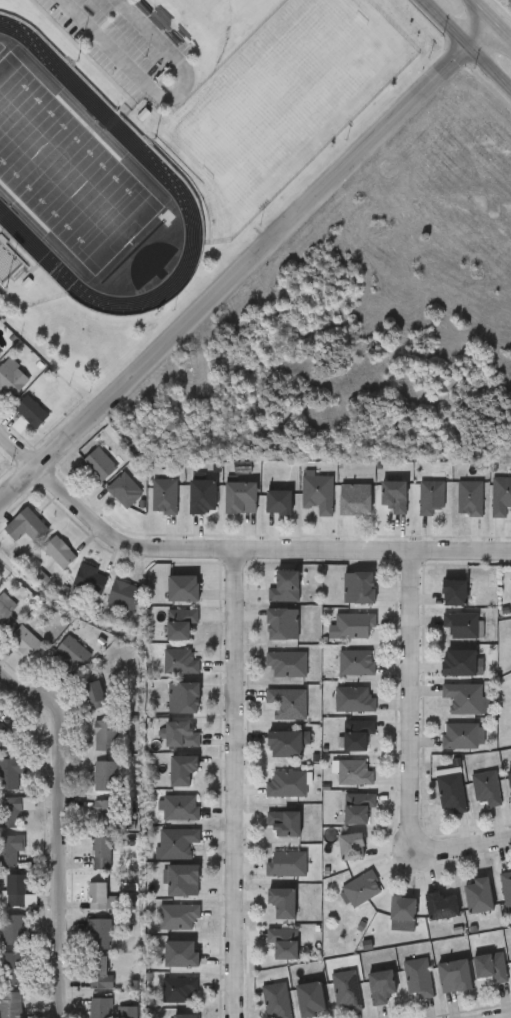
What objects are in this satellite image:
road: (490, 20)
road: (468, 44)
park: (287, 94)
road: (161, 95)
park: (69, 173)
road: (246, 263)
building: (11, 378)
building: (31, 412)
building: (95, 465)
building: (121, 490)
building: (320, 493)
building: (395, 495)
building: (166, 496)
road: (68, 497)
building: (203, 497)
building: (432, 497)
building: (502, 497)
building: (241, 498)
building: (471, 498)
building: (356, 500)
building: (279, 502)
building: (26, 526)
road: (327, 550)
building: (59, 552)
building: (90, 579)
building: (286, 586)
building: (184, 588)
building: (360, 588)
building: (455, 592)
building: (124, 595)
building: (5, 618)
building: (180, 623)
building: (283, 624)
building: (462, 624)
building: (353, 625)
building: (25, 642)
building: (73, 652)
building: (179, 661)
building: (358, 662)
building: (459, 663)
building: (288, 664)
building: (95, 695)
building: (185, 698)
building: (464, 698)
building: (355, 700)
building: (289, 703)
road: (410, 704)
building: (357, 734)
building: (106, 735)
building: (180, 735)
building: (460, 736)
building: (5, 738)
building: (287, 743)
building: (182, 770)
building: (10, 773)
building: (355, 773)
building: (106, 776)
building: (510, 779)
road: (233, 783)
building: (288, 783)
building: (487, 788)
building: (452, 792)
building: (180, 808)
building: (358, 808)
building: (13, 811)
building: (107, 814)
building: (284, 824)
road: (60, 826)
building: (176, 842)
building: (351, 847)
road: (464, 847)
building: (10, 852)
building: (103, 852)
building: (288, 863)
building: (184, 881)
building: (363, 888)
building: (15, 890)
building: (506, 890)
building: (100, 896)
building: (478, 896)
building: (282, 902)
building: (440, 906)
building: (402, 909)
building: (178, 916)
building: (11, 930)
building: (99, 934)
building: (284, 943)
building: (181, 955)
building: (490, 967)
building: (12, 969)
building: (100, 972)
building: (454, 976)
building: (417, 977)
building: (382, 986)
building: (178, 988)
building: (346, 990)
building: (311, 999)
building: (276, 1000)
building: (10, 1004)
building: (185, 1017)
road: (507, 1017)

